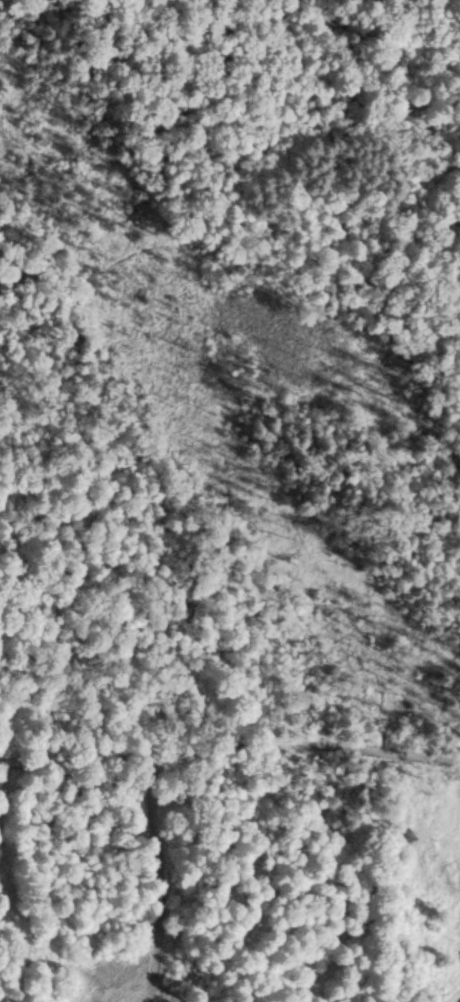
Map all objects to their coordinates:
road: (230, 747)

